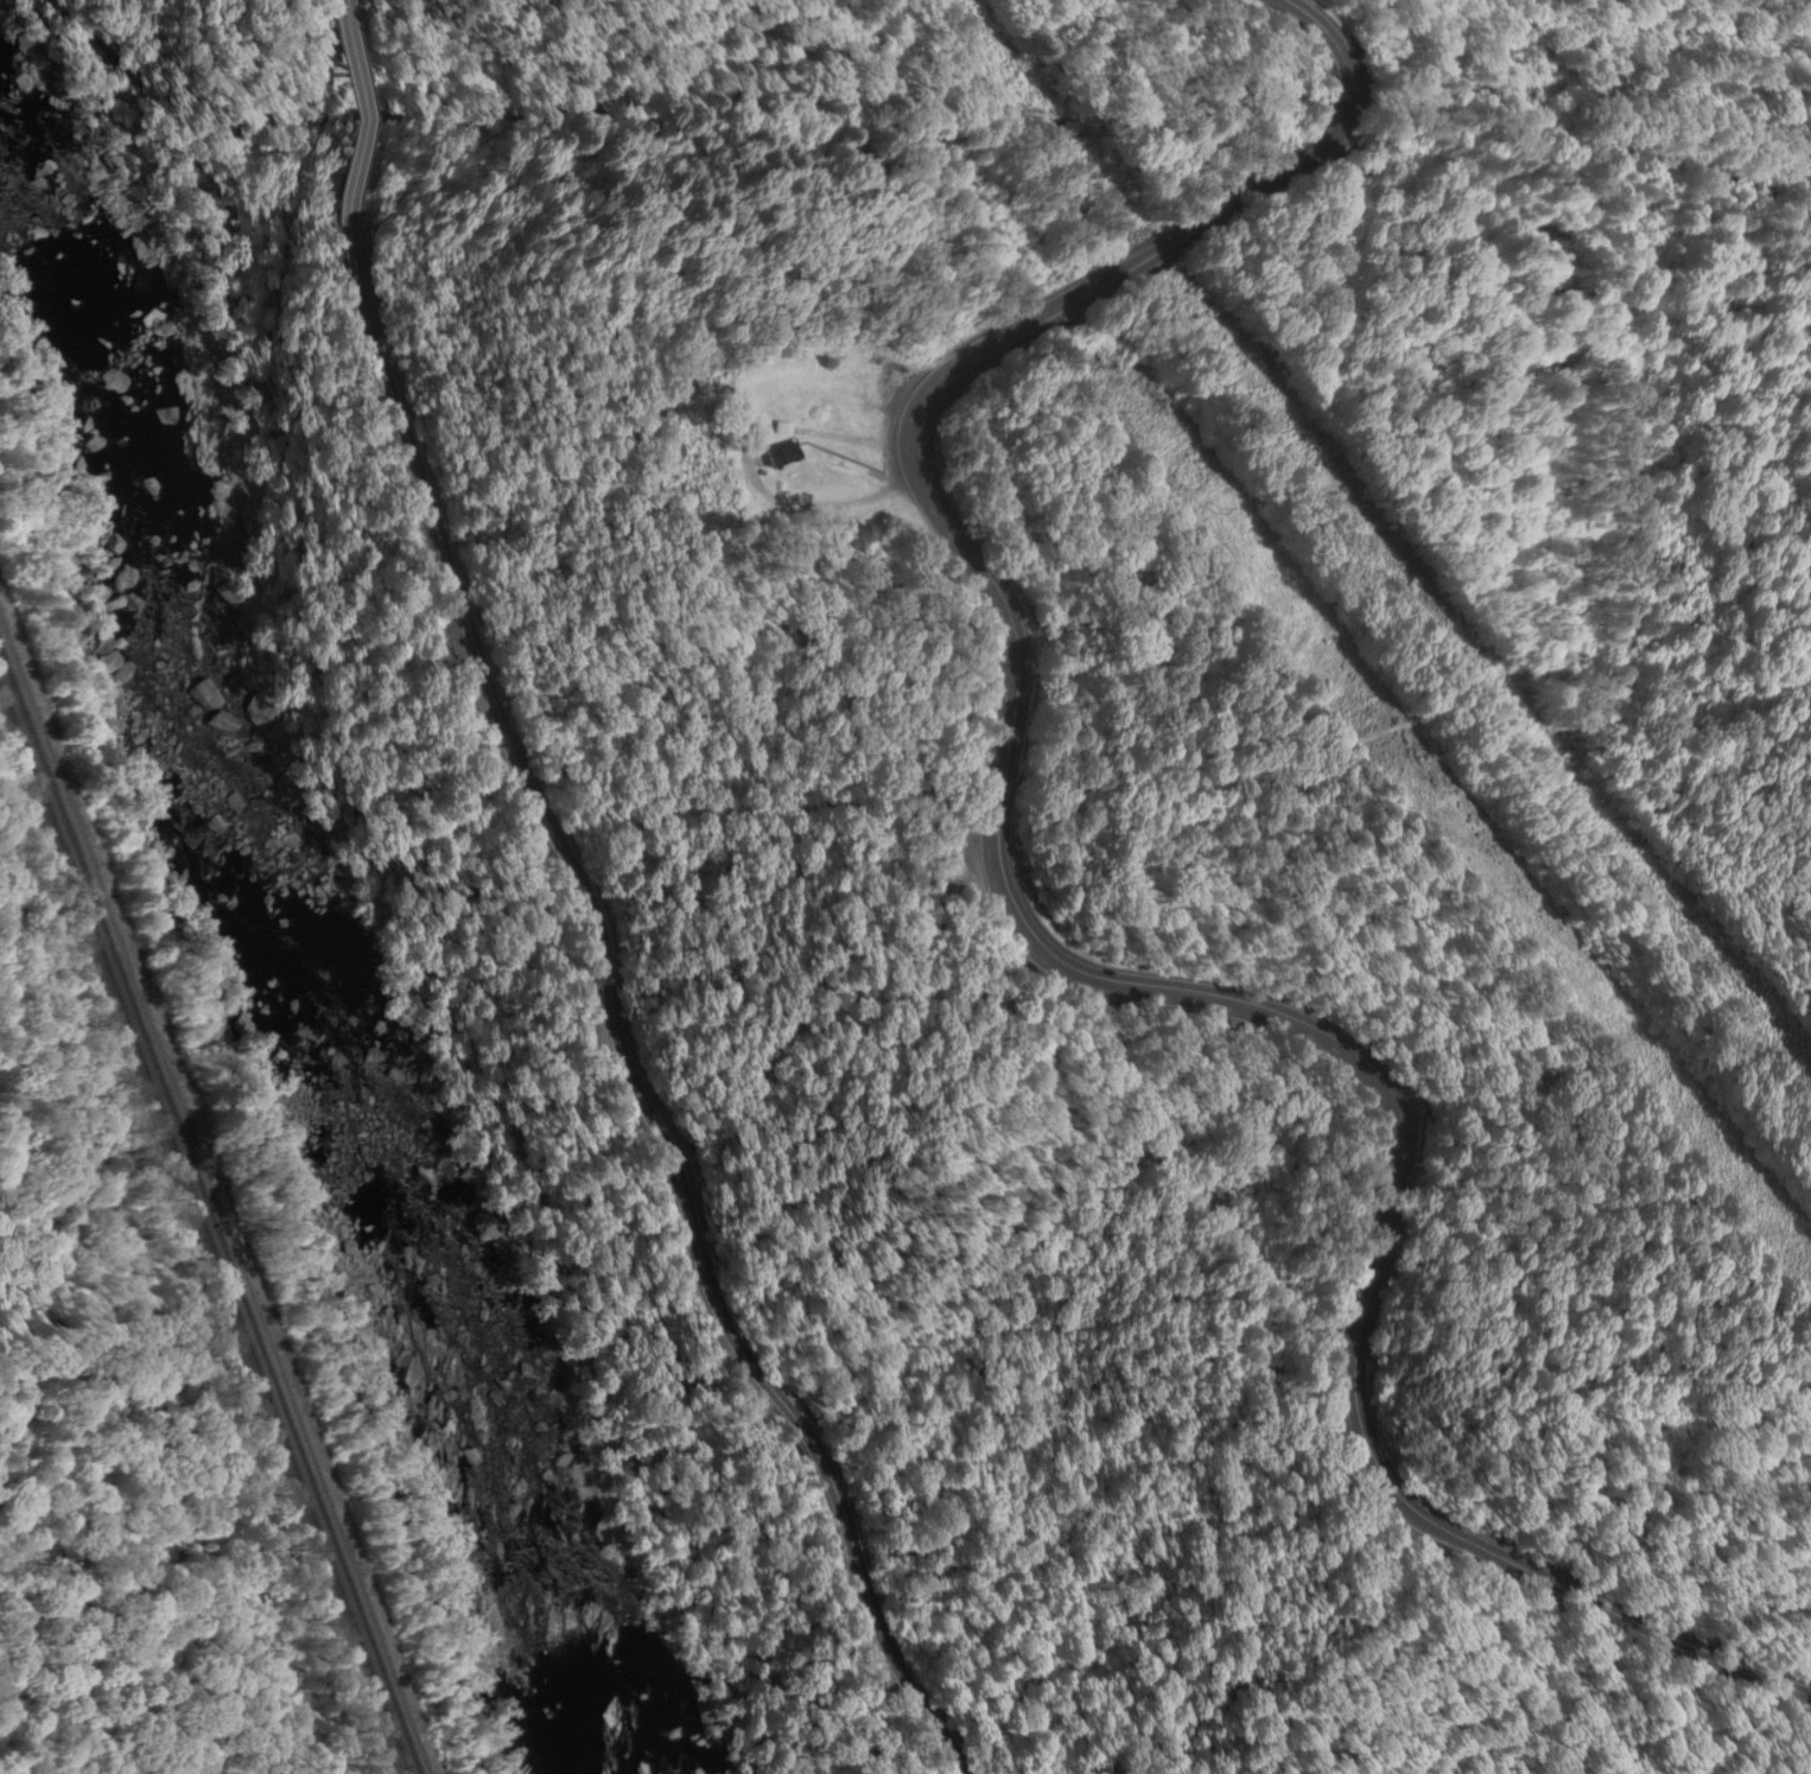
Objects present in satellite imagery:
road: (1549, 6)
road: (347, 120)
road: (1279, 165)
building: (781, 426)
building: (781, 452)
road: (997, 805)
river: (304, 1020)
road: (614, 1028)
railway: (210, 1212)
railway: (204, 1228)
road: (1359, 1315)
road: (1572, 1588)

